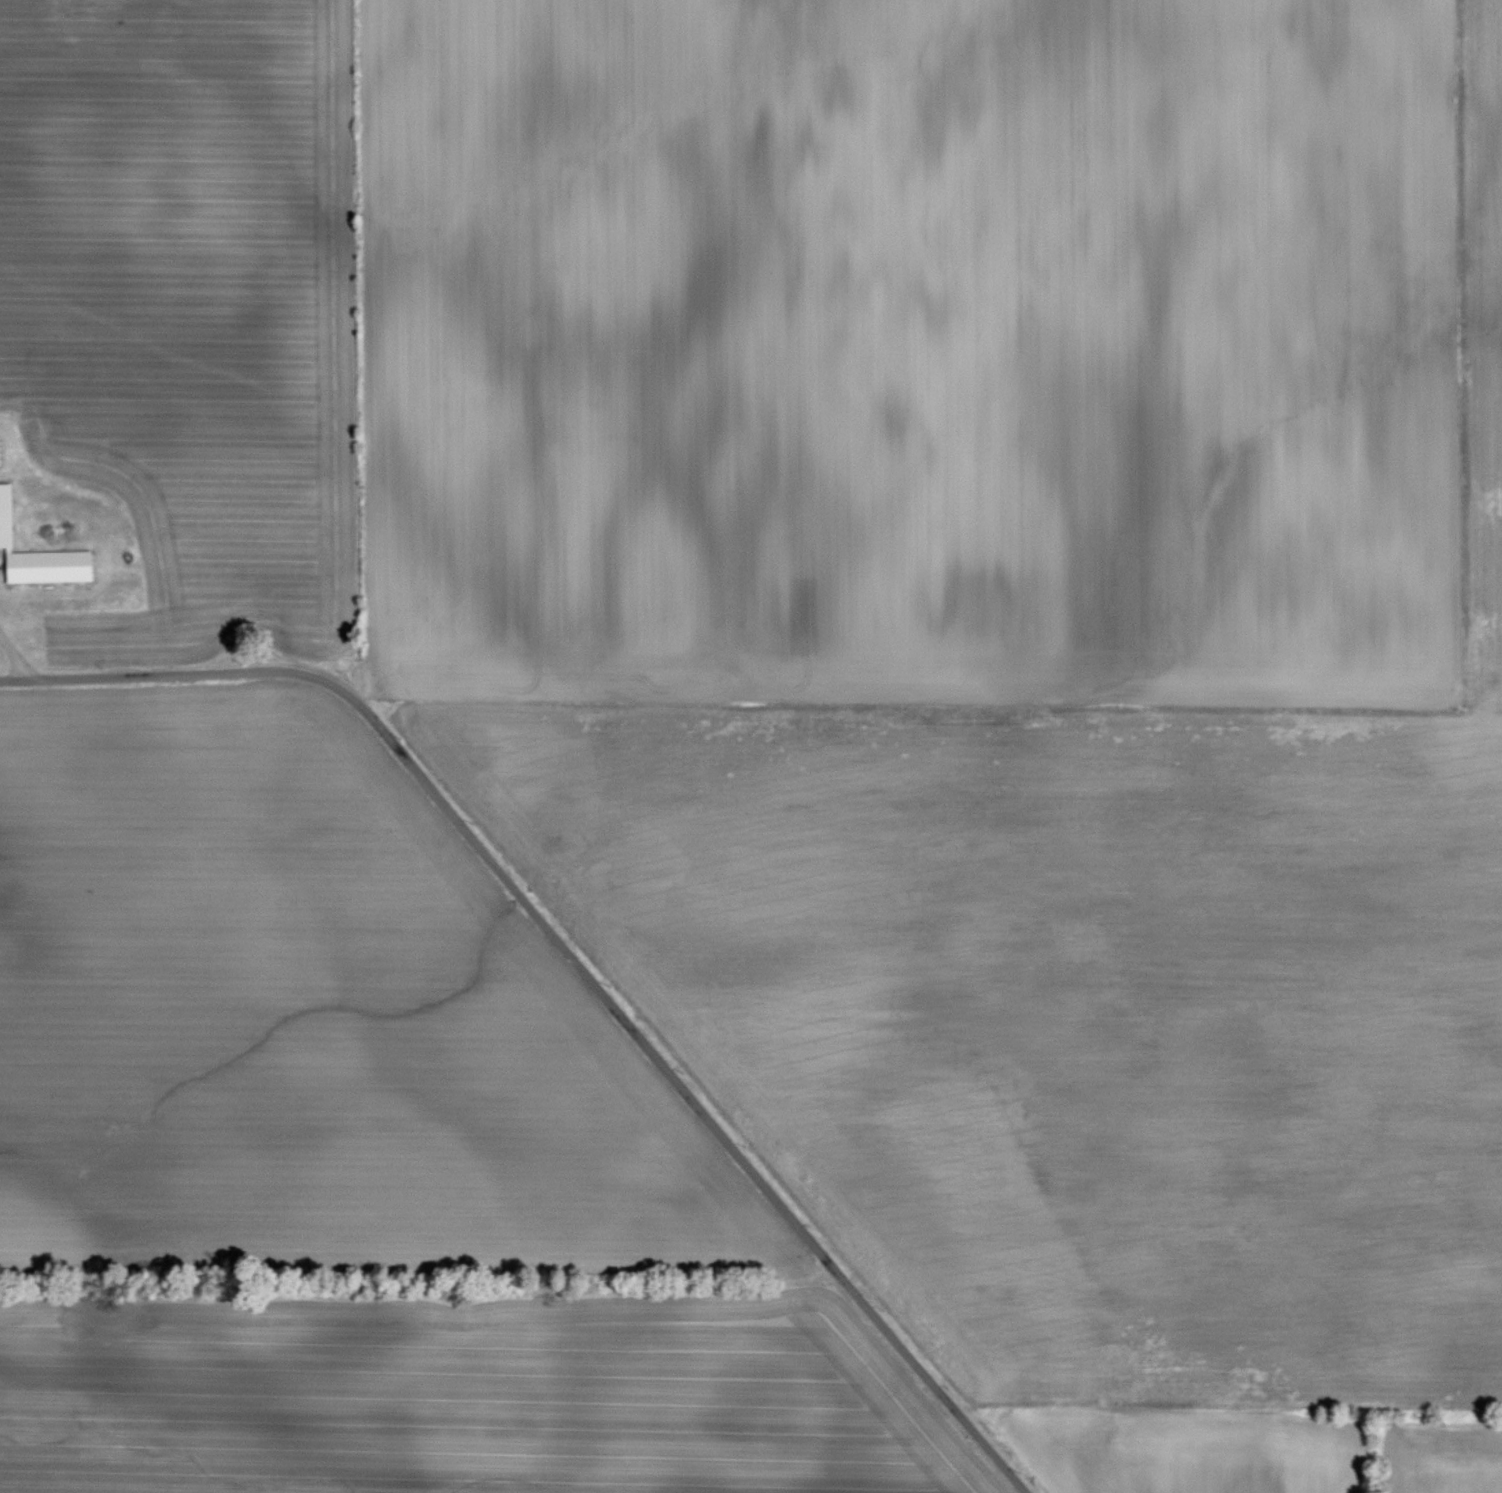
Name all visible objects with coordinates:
building: (39, 555)
road: (13, 652)
road: (573, 958)

